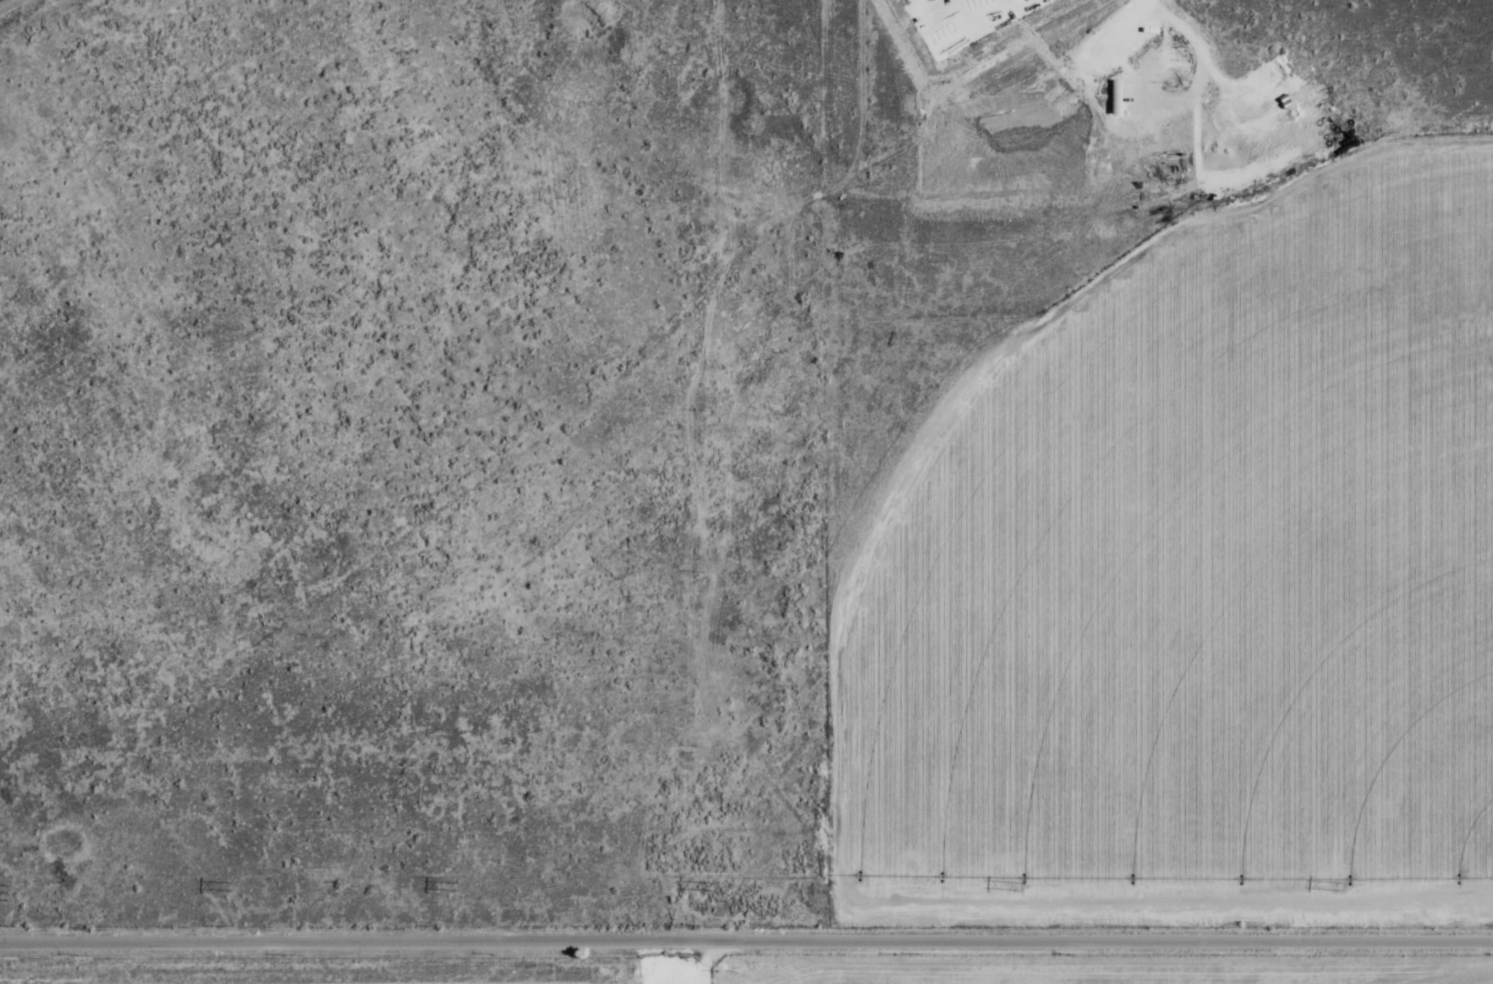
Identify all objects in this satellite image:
power tower: (1017, 885)
power tower: (1335, 885)
power tower: (707, 886)
power tower: (229, 887)
power tower: (454, 887)
power tower: (5, 892)
road: (746, 939)
road: (706, 961)

